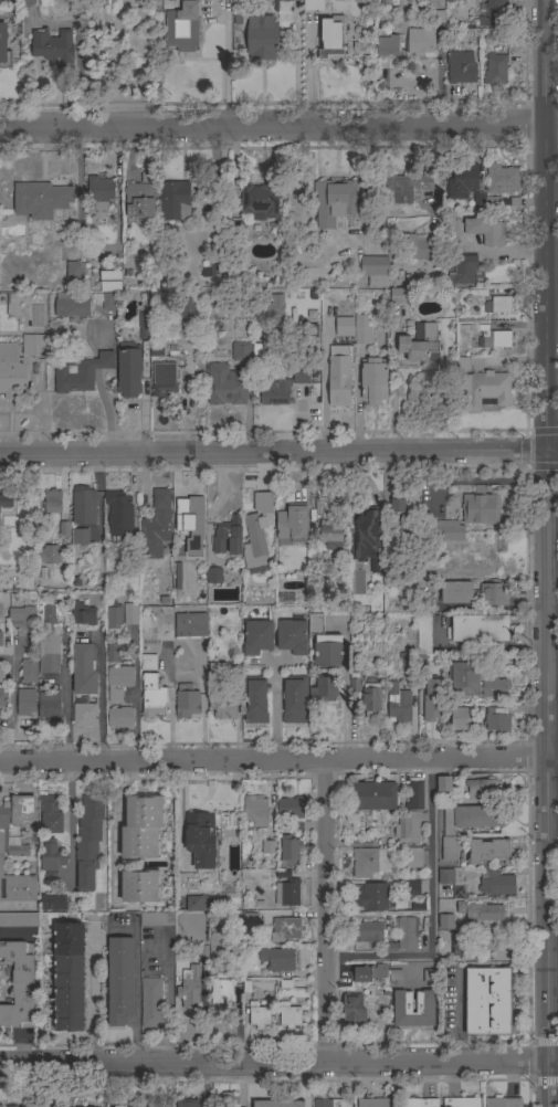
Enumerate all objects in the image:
building: (293, 0)
building: (27, 3)
building: (313, 6)
building: (492, 13)
building: (436, 15)
building: (181, 28)
building: (262, 39)
building: (330, 40)
building: (419, 42)
building: (387, 45)
building: (52, 46)
building: (3, 49)
building: (460, 66)
building: (495, 68)
road: (101, 71)
road: (278, 124)
building: (501, 179)
building: (462, 181)
building: (407, 189)
building: (99, 193)
building: (41, 200)
building: (138, 200)
building: (173, 201)
building: (260, 201)
building: (334, 201)
building: (476, 230)
building: (417, 247)
building: (218, 270)
building: (461, 270)
building: (74, 271)
building: (375, 271)
building: (109, 280)
building: (477, 294)
building: (397, 296)
building: (107, 301)
building: (72, 305)
building: (498, 305)
building: (12, 306)
building: (274, 307)
building: (187, 310)
building: (143, 325)
building: (344, 327)
building: (361, 330)
building: (494, 338)
building: (309, 341)
building: (34, 345)
building: (419, 345)
building: (156, 350)
building: (241, 350)
building: (260, 350)
building: (462, 365)
building: (128, 369)
building: (12, 371)
building: (80, 373)
building: (301, 373)
building: (338, 376)
building: (162, 379)
building: (373, 381)
building: (225, 386)
road: (393, 386)
building: (485, 390)
building: (273, 393)
road: (325, 396)
road: (188, 401)
road: (357, 402)
road: (278, 454)
building: (52, 502)
building: (6, 504)
building: (83, 506)
building: (397, 506)
building: (480, 507)
building: (118, 515)
building: (292, 523)
building: (156, 526)
building: (445, 530)
building: (192, 534)
building: (330, 535)
building: (366, 535)
building: (80, 537)
building: (228, 538)
building: (254, 546)
road: (545, 553)
building: (48, 555)
building: (213, 576)
building: (456, 592)
building: (493, 594)
building: (81, 613)
building: (129, 614)
building: (48, 615)
building: (20, 616)
building: (113, 618)
building: (313, 625)
building: (190, 626)
building: (477, 629)
building: (291, 635)
building: (256, 637)
building: (0, 639)
building: (422, 643)
building: (0, 646)
building: (328, 650)
building: (113, 652)
building: (49, 653)
building: (148, 663)
building: (28, 671)
building: (83, 671)
building: (0, 675)
building: (464, 679)
building: (118, 682)
road: (13, 683)
building: (352, 683)
building: (493, 687)
building: (323, 689)
building: (220, 694)
road: (102, 696)
building: (151, 696)
building: (293, 699)
building: (370, 699)
building: (431, 699)
building: (1, 700)
road: (64, 700)
building: (254, 700)
building: (24, 702)
building: (186, 702)
building: (398, 704)
building: (49, 705)
building: (84, 713)
building: (119, 717)
building: (459, 718)
building: (496, 719)
road: (10, 736)
road: (278, 760)
building: (443, 783)
building: (483, 789)
building: (373, 794)
building: (414, 795)
building: (289, 808)
building: (255, 811)
building: (50, 814)
building: (471, 818)
building: (14, 824)
road: (73, 825)
building: (141, 827)
building: (408, 827)
road: (112, 829)
building: (196, 833)
building: (88, 840)
building: (267, 847)
building: (449, 848)
building: (287, 851)
building: (488, 851)
building: (51, 856)
building: (413, 857)
building: (368, 862)
building: (445, 876)
building: (497, 884)
building: (17, 887)
building: (139, 887)
building: (411, 888)
building: (287, 893)
building: (373, 897)
building: (52, 903)
building: (194, 905)
road: (429, 911)
building: (485, 911)
road: (319, 913)
building: (19, 919)
building: (156, 919)
building: (250, 920)
building: (445, 921)
building: (286, 929)
building: (367, 931)
building: (407, 934)
building: (473, 943)
building: (277, 959)
building: (369, 973)
building: (69, 977)
building: (394, 977)
building: (430, 977)
building: (119, 979)
building: (190, 984)
building: (18, 985)
building: (222, 990)
road: (90, 999)
building: (487, 1001)
building: (150, 1002)
building: (424, 1002)
building: (352, 1009)
building: (259, 1014)
building: (288, 1015)
road: (453, 1019)
road: (278, 1066)
building: (227, 1100)
building: (187, 1103)
building: (330, 1103)
building: (375, 1103)
building: (419, 1103)
building: (461, 1103)
building: (503, 1103)
building: (276, 1104)
building: (150, 1105)
building: (0, 1106)
building: (11, 1106)
building: (119, 1106)

